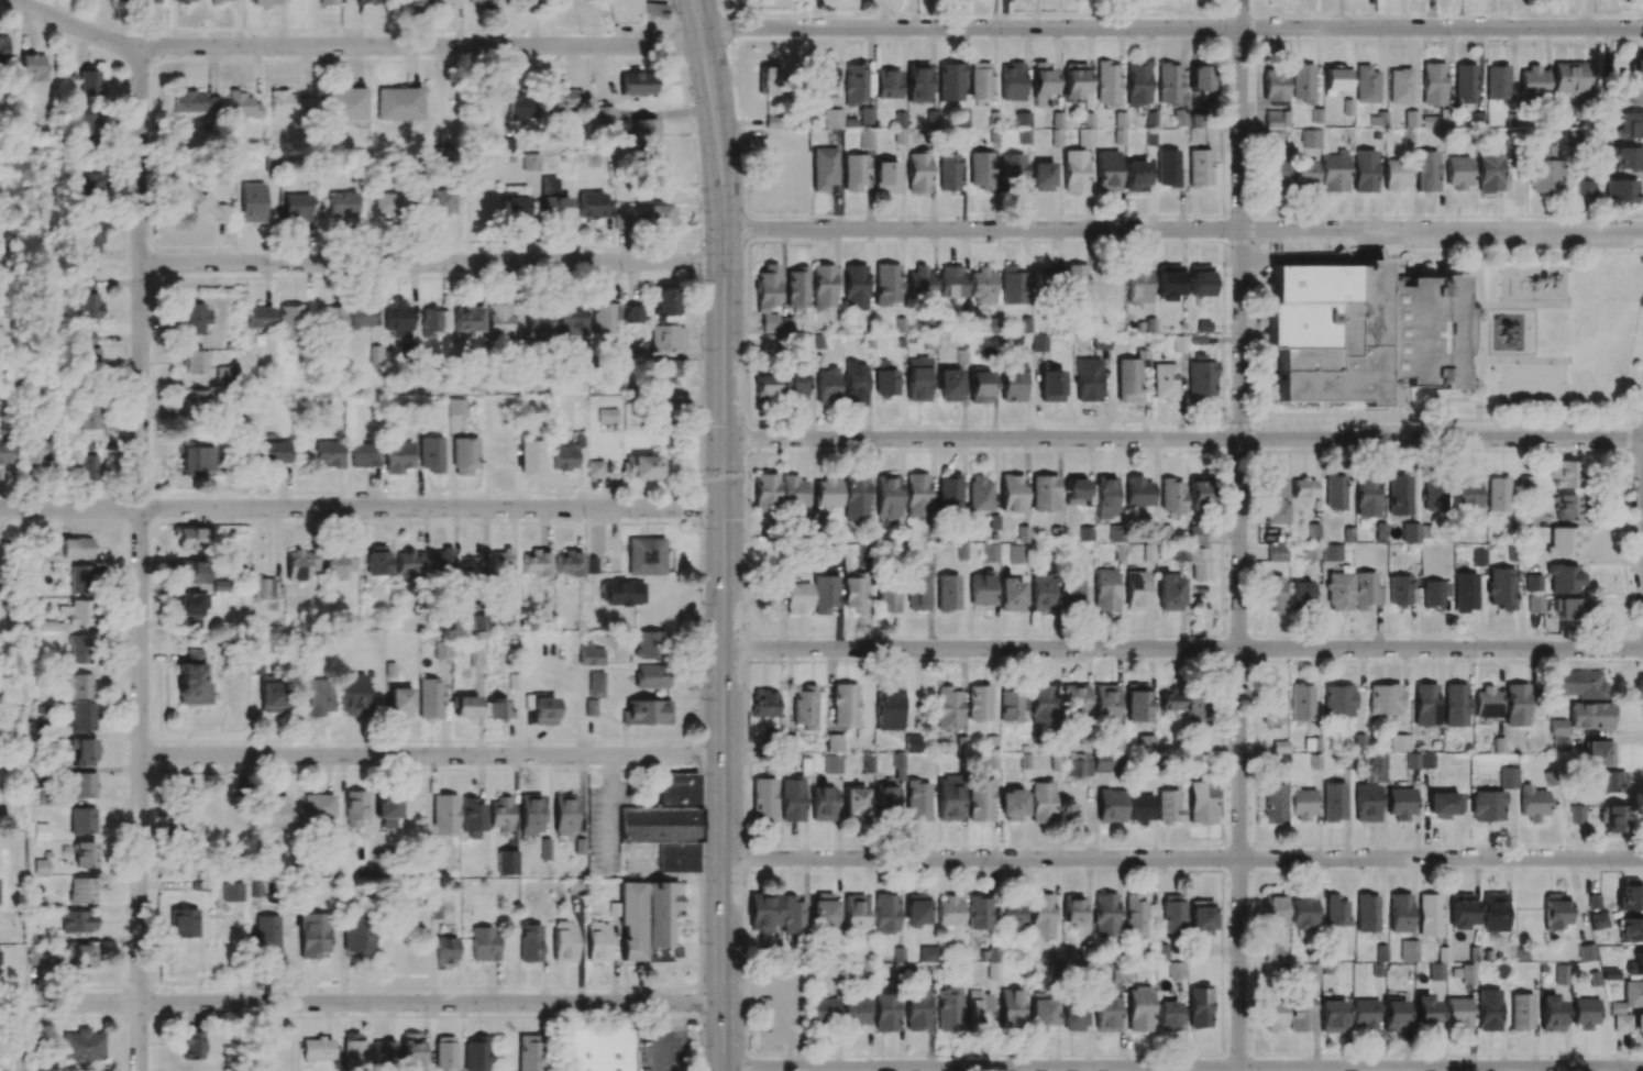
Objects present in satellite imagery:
building: (183, 0)
building: (145, 1)
building: (221, 1)
building: (366, 1)
building: (442, 1)
building: (482, 1)
building: (330, 2)
building: (413, 2)
building: (517, 2)
building: (262, 3)
building: (632, 11)
road: (1171, 29)
road: (353, 46)
building: (3, 48)
building: (1636, 65)
building: (33, 67)
building: (1567, 77)
building: (769, 79)
building: (824, 80)
building: (980, 80)
building: (1041, 80)
building: (1074, 80)
building: (1334, 80)
building: (950, 81)
building: (1532, 81)
building: (636, 82)
building: (917, 82)
building: (1012, 82)
building: (1301, 82)
building: (1496, 82)
building: (89, 84)
building: (854, 84)
building: (887, 84)
building: (1107, 84)
building: (1137, 84)
building: (1169, 84)
building: (1432, 84)
building: (1465, 84)
building: (1273, 85)
building: (1366, 85)
building: (1399, 87)
building: (1633, 92)
building: (189, 101)
building: (556, 102)
building: (287, 103)
building: (399, 103)
building: (211, 104)
building: (344, 104)
building: (1198, 104)
building: (243, 106)
building: (519, 107)
building: (606, 114)
road: (715, 114)
building: (865, 115)
building: (832, 118)
building: (1180, 118)
building: (1276, 119)
building: (1411, 119)
building: (1437, 120)
building: (1630, 125)
building: (1120, 128)
building: (89, 130)
building: (644, 133)
building: (1084, 136)
building: (1309, 139)
building: (1628, 157)
building: (530, 162)
building: (824, 168)
building: (1167, 168)
building: (1199, 168)
building: (1012, 169)
building: (981, 170)
building: (1074, 170)
building: (1107, 170)
building: (854, 172)
building: (918, 172)
building: (948, 172)
building: (1333, 172)
building: (1364, 172)
building: (1425, 172)
building: (1303, 173)
building: (1457, 173)
building: (1489, 173)
building: (1544, 174)
building: (1394, 175)
building: (887, 176)
building: (1136, 176)
building: (1043, 177)
building: (1276, 177)
building: (89, 185)
building: (1585, 189)
building: (1620, 192)
building: (552, 200)
building: (516, 201)
building: (250, 202)
building: (439, 203)
building: (198, 205)
building: (341, 205)
building: (387, 205)
building: (593, 206)
building: (294, 208)
building: (658, 217)
road: (1183, 230)
building: (89, 236)
road: (1476, 241)
road: (432, 264)
road: (1452, 266)
road: (1566, 276)
building: (1044, 280)
building: (1200, 280)
building: (950, 281)
building: (1168, 281)
building: (919, 283)
building: (1137, 284)
building: (886, 285)
building: (1074, 285)
building: (981, 286)
building: (1012, 286)
building: (823, 287)
building: (854, 287)
building: (796, 289)
building: (767, 296)
building: (88, 300)
building: (664, 301)
road: (1470, 305)
building: (632, 314)
building: (363, 316)
building: (258, 317)
building: (605, 317)
building: (191, 319)
building: (334, 319)
building: (397, 319)
building: (470, 320)
building: (570, 320)
building: (434, 321)
building: (289, 322)
building: (499, 322)
building: (539, 323)
road: (1485, 332)
building: (1359, 333)
building: (666, 338)
building: (770, 342)
building: (1038, 343)
building: (1179, 344)
building: (88, 353)
road: (1471, 360)
road: (1526, 360)
building: (190, 362)
building: (665, 373)
building: (221, 374)
building: (1131, 377)
building: (1201, 377)
building: (884, 379)
building: (916, 379)
building: (1087, 379)
building: (1012, 382)
building: (1164, 382)
building: (794, 383)
building: (854, 384)
building: (1050, 384)
park: (1532, 384)
building: (765, 385)
building: (948, 385)
building: (980, 385)
building: (827, 386)
road: (1451, 399)
building: (196, 400)
building: (456, 407)
building: (664, 409)
building: (89, 415)
building: (607, 416)
road: (1478, 426)
road: (1183, 439)
building: (82, 446)
building: (35, 451)
building: (5, 452)
building: (273, 452)
building: (328, 454)
building: (566, 454)
building: (363, 455)
building: (430, 455)
building: (464, 456)
building: (531, 456)
building: (397, 457)
building: (195, 460)
building: (87, 467)
building: (642, 467)
building: (594, 468)
building: (1564, 474)
road: (724, 476)
building: (1302, 488)
building: (764, 492)
building: (793, 492)
building: (827, 492)
building: (949, 492)
building: (1074, 492)
building: (1137, 492)
building: (1334, 492)
building: (1497, 493)
building: (980, 494)
building: (1012, 494)
building: (1044, 494)
building: (1199, 494)
building: (1466, 494)
building: (917, 495)
building: (1366, 495)
building: (1399, 495)
building: (1434, 495)
building: (1105, 496)
building: (1171, 496)
building: (854, 497)
building: (886, 497)
building: (1275, 500)
building: (1565, 507)
road: (362, 509)
road: (1639, 509)
building: (1528, 518)
building: (1162, 532)
building: (1313, 532)
building: (1410, 532)
road: (1240, 535)
building: (190, 538)
building: (1564, 541)
building: (75, 548)
building: (1312, 551)
building: (990, 553)
building: (1276, 553)
building: (1332, 553)
building: (1018, 554)
building: (1179, 554)
building: (1198, 554)
building: (646, 556)
road: (140, 557)
building: (1478, 557)
building: (377, 561)
building: (442, 561)
building: (501, 561)
building: (534, 563)
building: (567, 563)
building: (337, 564)
building: (408, 564)
building: (299, 565)
building: (189, 572)
building: (77, 578)
building: (1564, 578)
building: (1532, 583)
building: (263, 588)
building: (1501, 588)
building: (917, 590)
building: (1104, 590)
building: (1136, 590)
building: (1364, 590)
building: (1072, 592)
building: (1272, 592)
building: (1339, 592)
building: (1401, 592)
building: (621, 593)
building: (854, 593)
building: (947, 593)
building: (1041, 593)
building: (1168, 593)
building: (1435, 593)
building: (1465, 593)
building: (824, 594)
building: (1300, 594)
building: (1011, 595)
building: (797, 597)
building: (887, 598)
building: (1535, 604)
building: (187, 605)
building: (1567, 609)
building: (75, 612)
building: (190, 623)
building: (476, 640)
building: (649, 644)
building: (79, 649)
building: (441, 650)
road: (1183, 650)
road: (724, 651)
building: (591, 653)
building: (650, 676)
building: (190, 680)
building: (595, 684)
building: (1579, 684)
building: (79, 686)
street lamp: (743, 689)
building: (353, 694)
building: (272, 695)
building: (316, 697)
building: (429, 698)
building: (1074, 698)
building: (1383, 699)
building: (1170, 700)
building: (1337, 700)
building: (1301, 702)
building: (399, 703)
building: (764, 703)
building: (978, 703)
building: (1105, 703)
building: (1137, 703)
building: (1275, 703)
building: (1487, 703)
building: (1012, 704)
building: (845, 705)
building: (1041, 705)
building: (1425, 705)
building: (1455, 705)
building: (1515, 705)
building: (465, 706)
building: (589, 707)
building: (804, 707)
building: (948, 707)
building: (540, 708)
building: (889, 708)
building: (497, 709)
building: (1197, 709)
building: (646, 713)
building: (1590, 716)
building: (80, 717)
building: (1558, 727)
building: (835, 743)
building: (1146, 743)
building: (1399, 743)
building: (1559, 743)
building: (1311, 744)
building: (81, 752)
building: (1598, 753)
road: (431, 757)
building: (1411, 760)
building: (1106, 761)
building: (1055, 762)
building: (867, 763)
building: (1079, 764)
building: (830, 766)
building: (898, 766)
building: (1377, 766)
street lamp: (701, 774)
building: (1508, 777)
building: (1608, 781)
building: (81, 785)
building: (885, 798)
building: (949, 798)
building: (792, 799)
building: (981, 799)
building: (763, 801)
building: (917, 801)
building: (854, 802)
building: (1041, 802)
building: (1333, 802)
building: (1201, 803)
building: (1400, 803)
building: (1532, 803)
building: (821, 804)
building: (1273, 804)
building: (1301, 804)
building: (1366, 804)
building: (1012, 805)
building: (1444, 805)
building: (318, 806)
building: (1110, 806)
building: (1487, 806)
building: (1167, 807)
building: (1138, 808)
building: (354, 809)
building: (387, 810)
building: (273, 811)
building: (500, 814)
building: (563, 814)
building: (1576, 814)
building: (444, 815)
building: (530, 815)
building: (472, 818)
building: (1613, 818)
building: (81, 820)
building: (666, 822)
building: (40, 831)
building: (189, 831)
street lamp: (743, 835)
building: (84, 854)
road: (1183, 859)
building: (506, 862)
building: (379, 864)
building: (40, 866)
street lamp: (1612, 868)
building: (576, 886)
building: (81, 891)
building: (232, 892)
building: (1630, 894)
building: (40, 899)
building: (1594, 902)
building: (1072, 908)
building: (916, 909)
building: (1272, 910)
building: (1462, 910)
building: (763, 912)
building: (949, 912)
building: (1336, 912)
building: (1554, 912)
building: (824, 913)
building: (853, 913)
building: (979, 913)
building: (1301, 913)
building: (1367, 913)
building: (1399, 913)
building: (1493, 913)
building: (885, 914)
building: (1135, 914)
building: (1172, 914)
building: (1011, 915)
building: (1105, 915)
building: (1430, 915)
building: (792, 916)
building: (1041, 916)
building: (1200, 917)
building: (630, 919)
building: (662, 920)
building: (1598, 920)
building: (77, 921)
building: (183, 924)
building: (1631, 930)
building: (359, 934)
building: (267, 935)
building: (313, 935)
building: (529, 942)
building: (563, 942)
building: (597, 942)
street lamp: (701, 942)
building: (484, 943)
building: (445, 949)
building: (1587, 952)
building: (927, 953)
building: (1271, 953)
building: (36, 956)
building: (78, 957)
building: (1635, 964)
building: (1177, 970)
building: (1436, 971)
building: (1312, 973)
building: (1467, 974)
building: (1561, 974)
street lamp: (620, 991)
building: (1632, 994)
road: (362, 1003)
building: (1199, 1006)
building: (1010, 1007)
building: (824, 1009)
building: (949, 1009)
building: (979, 1009)
building: (1139, 1009)
building: (1300, 1009)
building: (917, 1011)
building: (1488, 1011)
building: (1425, 1012)
building: (1520, 1012)
building: (854, 1013)
building: (885, 1013)
building: (1041, 1013)
building: (1457, 1013)
building: (1584, 1013)
building: (1272, 1014)
building: (1364, 1014)
building: (1551, 1014)
building: (1393, 1015)
building: (1167, 1016)
building: (1332, 1016)
building: (1072, 1017)
building: (1621, 1023)
building: (1638, 1025)
road: (21, 1037)
building: (191, 1045)
building: (81, 1046)
street lamp: (745, 1048)
building: (317, 1049)
building: (354, 1049)
building: (598, 1049)
building: (410, 1051)
building: (383, 1052)
building: (530, 1052)
building: (444, 1053)
building: (476, 1053)
building: (631, 1060)
road: (1182, 1069)

